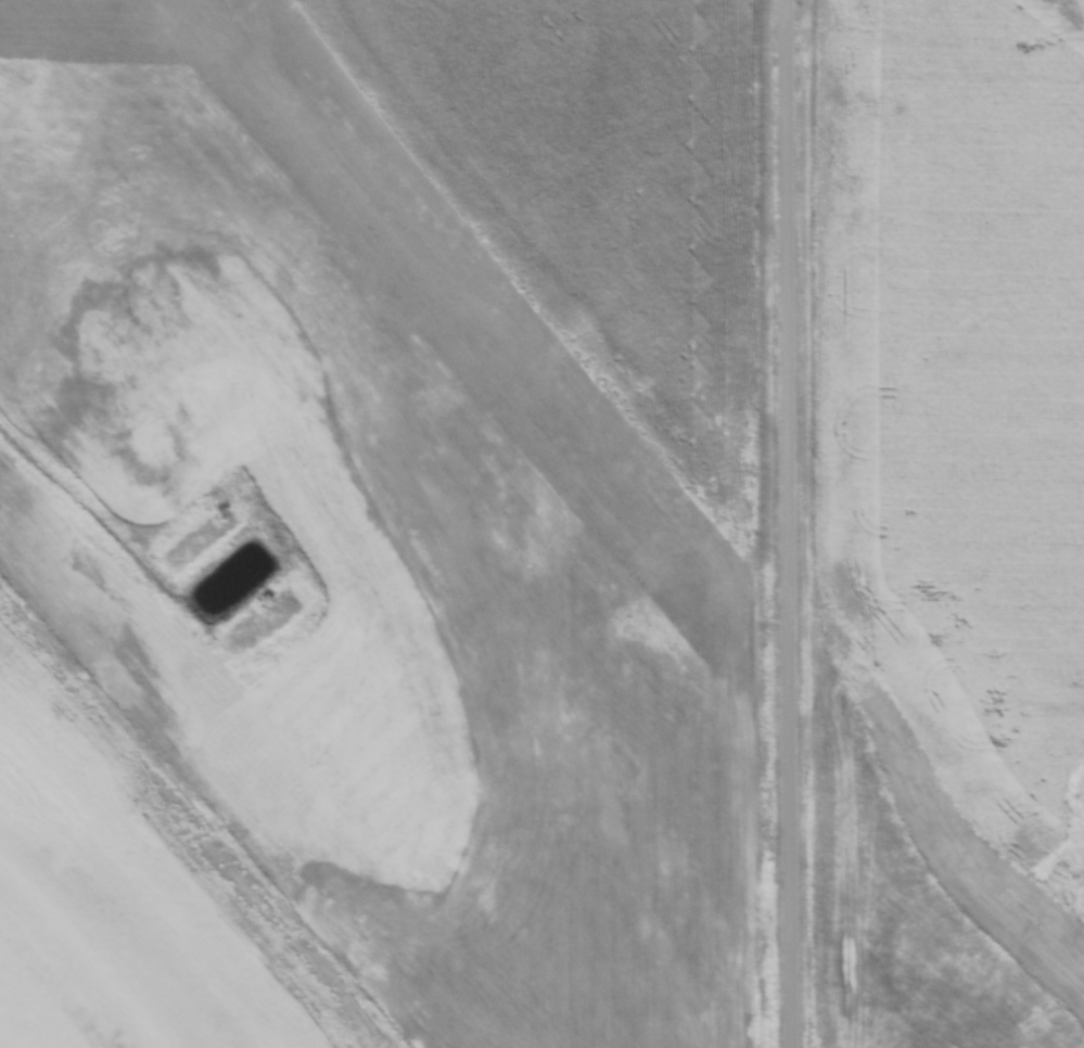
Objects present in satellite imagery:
road: (827, 524)

